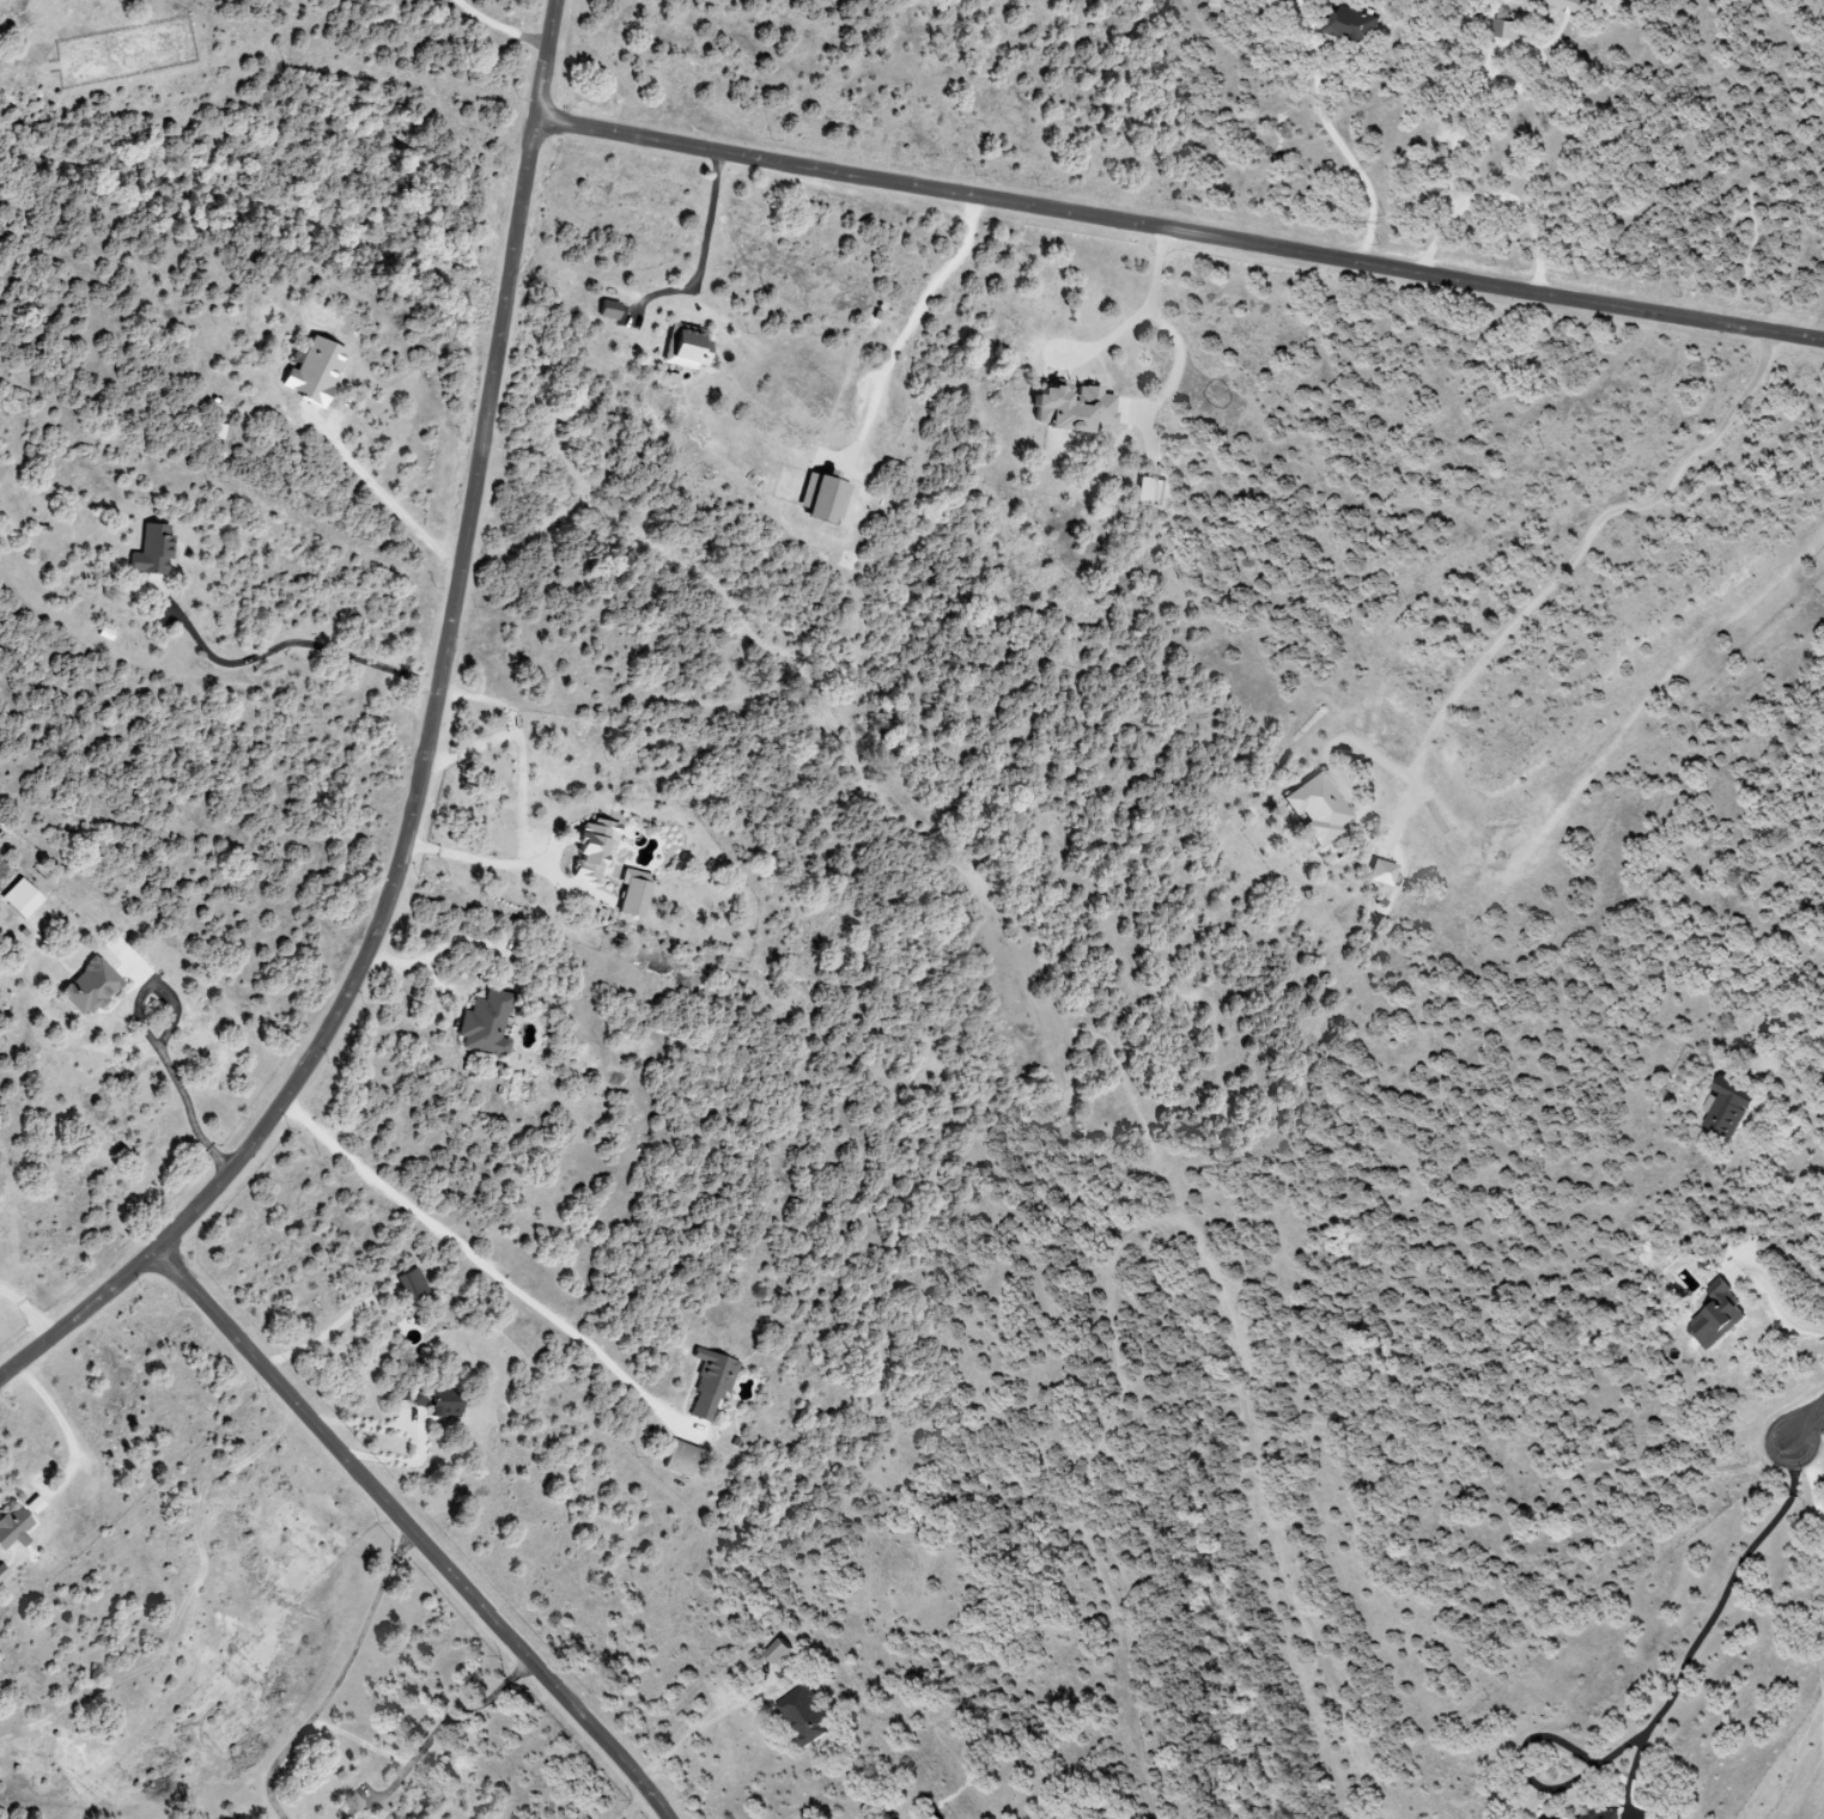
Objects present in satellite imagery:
building: (1567, 5)
building: (1352, 25)
building: (1506, 30)
road: (1457, 142)
road: (1354, 158)
road: (1527, 209)
road: (1177, 233)
road: (699, 255)
building: (606, 310)
road: (914, 320)
road: (1171, 334)
road: (1106, 342)
building: (683, 347)
building: (311, 372)
building: (1068, 408)
road: (382, 488)
building: (1148, 492)
building: (819, 499)
building: (151, 550)
road: (1506, 634)
road: (292, 640)
road: (424, 758)
road: (525, 803)
building: (1315, 809)
building: (591, 850)
building: (1379, 872)
building: (631, 894)
building: (18, 899)
road: (432, 951)
building: (87, 987)
building: (485, 1024)
road: (152, 1045)
road: (1794, 1085)
building: (1726, 1107)
road: (476, 1254)
building: (412, 1284)
road: (1779, 1300)
building: (1715, 1316)
building: (709, 1383)
road: (1806, 1422)
road: (65, 1428)
building: (677, 1459)
road: (1808, 1471)
building: (12, 1528)
road: (412, 1533)
building: (1, 1572)
road: (1709, 1624)
building: (776, 1651)
road: (332, 1677)
building: (803, 1715)
road: (695, 1730)
road: (430, 1732)
road: (1532, 1785)
building: (1601, 1815)
building: (935, 1817)

